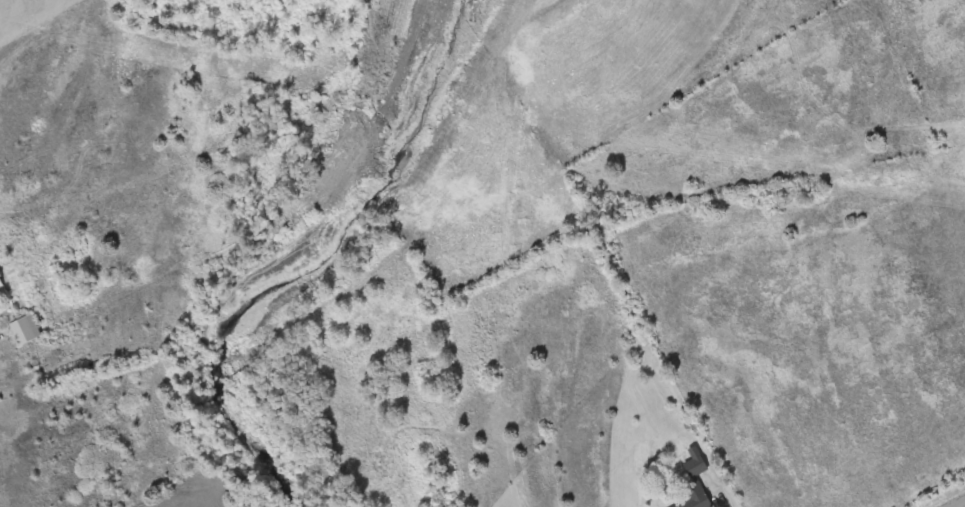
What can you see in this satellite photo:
building: (1, 283)
building: (695, 462)
building: (692, 498)
road: (960, 504)

